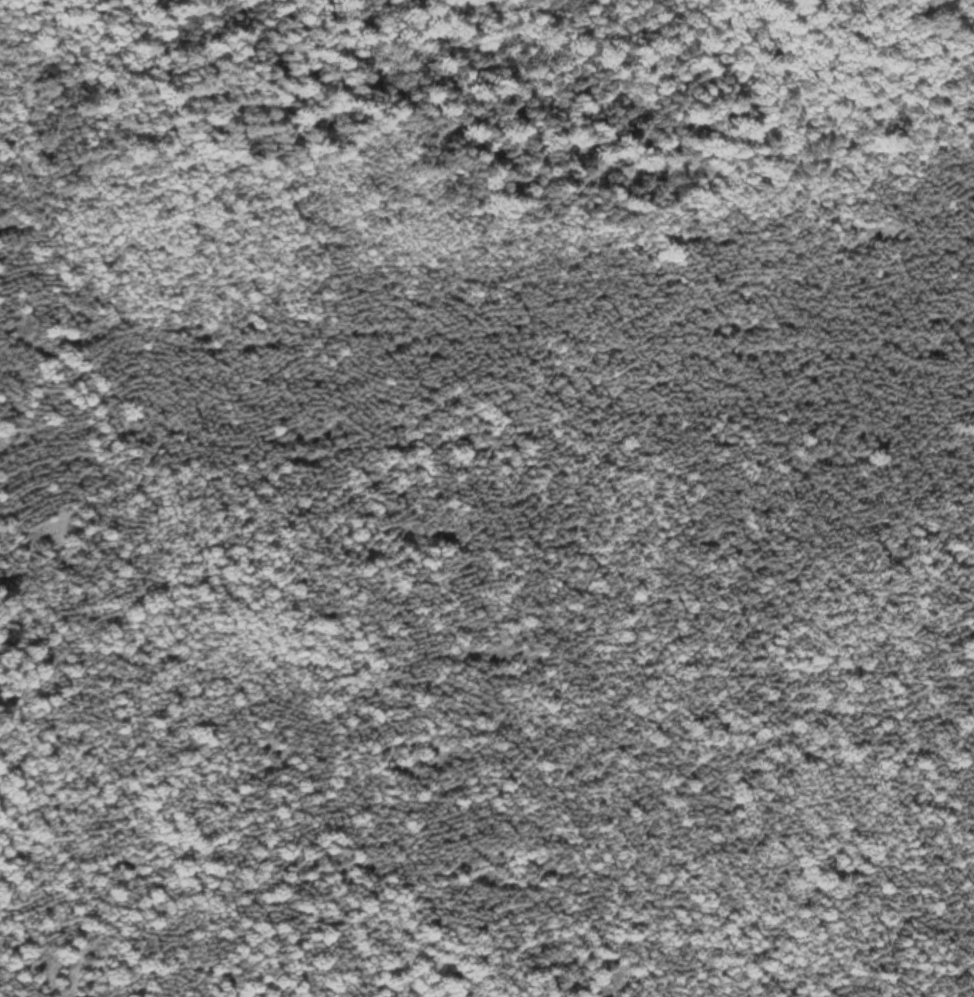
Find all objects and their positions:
road: (488, 318)

